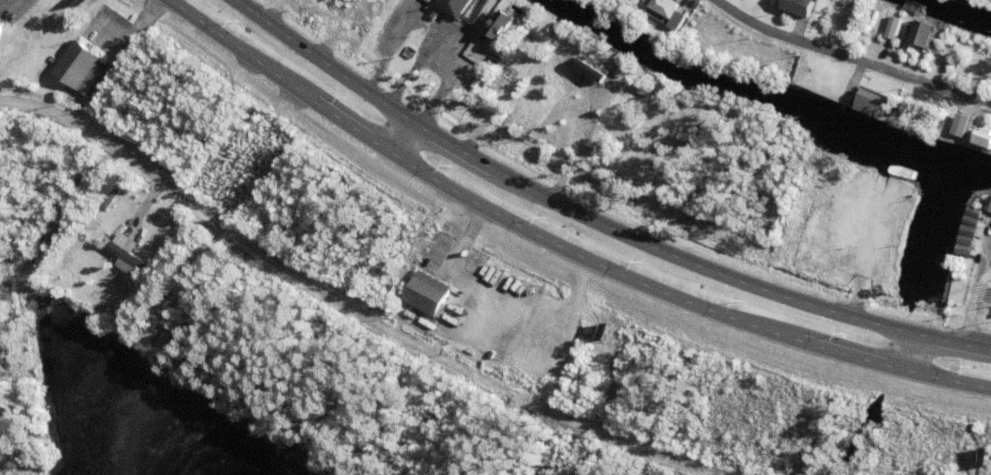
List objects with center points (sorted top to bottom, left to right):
building: (796, 2)
building: (0, 3)
building: (452, 7)
building: (660, 15)
building: (846, 16)
building: (871, 17)
building: (679, 21)
building: (480, 22)
building: (505, 25)
building: (890, 28)
road: (438, 29)
building: (1, 30)
building: (924, 34)
building: (846, 36)
building: (953, 48)
building: (504, 49)
road: (846, 62)
building: (743, 64)
building: (81, 65)
building: (590, 67)
road: (412, 71)
building: (620, 74)
building: (471, 88)
building: (646, 89)
building: (74, 94)
building: (607, 98)
building: (873, 104)
building: (957, 126)
building: (984, 139)
building: (600, 150)
building: (990, 208)
building: (977, 213)
building: (973, 222)
road: (588, 225)
building: (970, 230)
building: (968, 242)
building: (765, 245)
road: (555, 250)
building: (133, 260)
building: (430, 295)
building: (987, 299)
road: (335, 309)
building: (468, 332)

